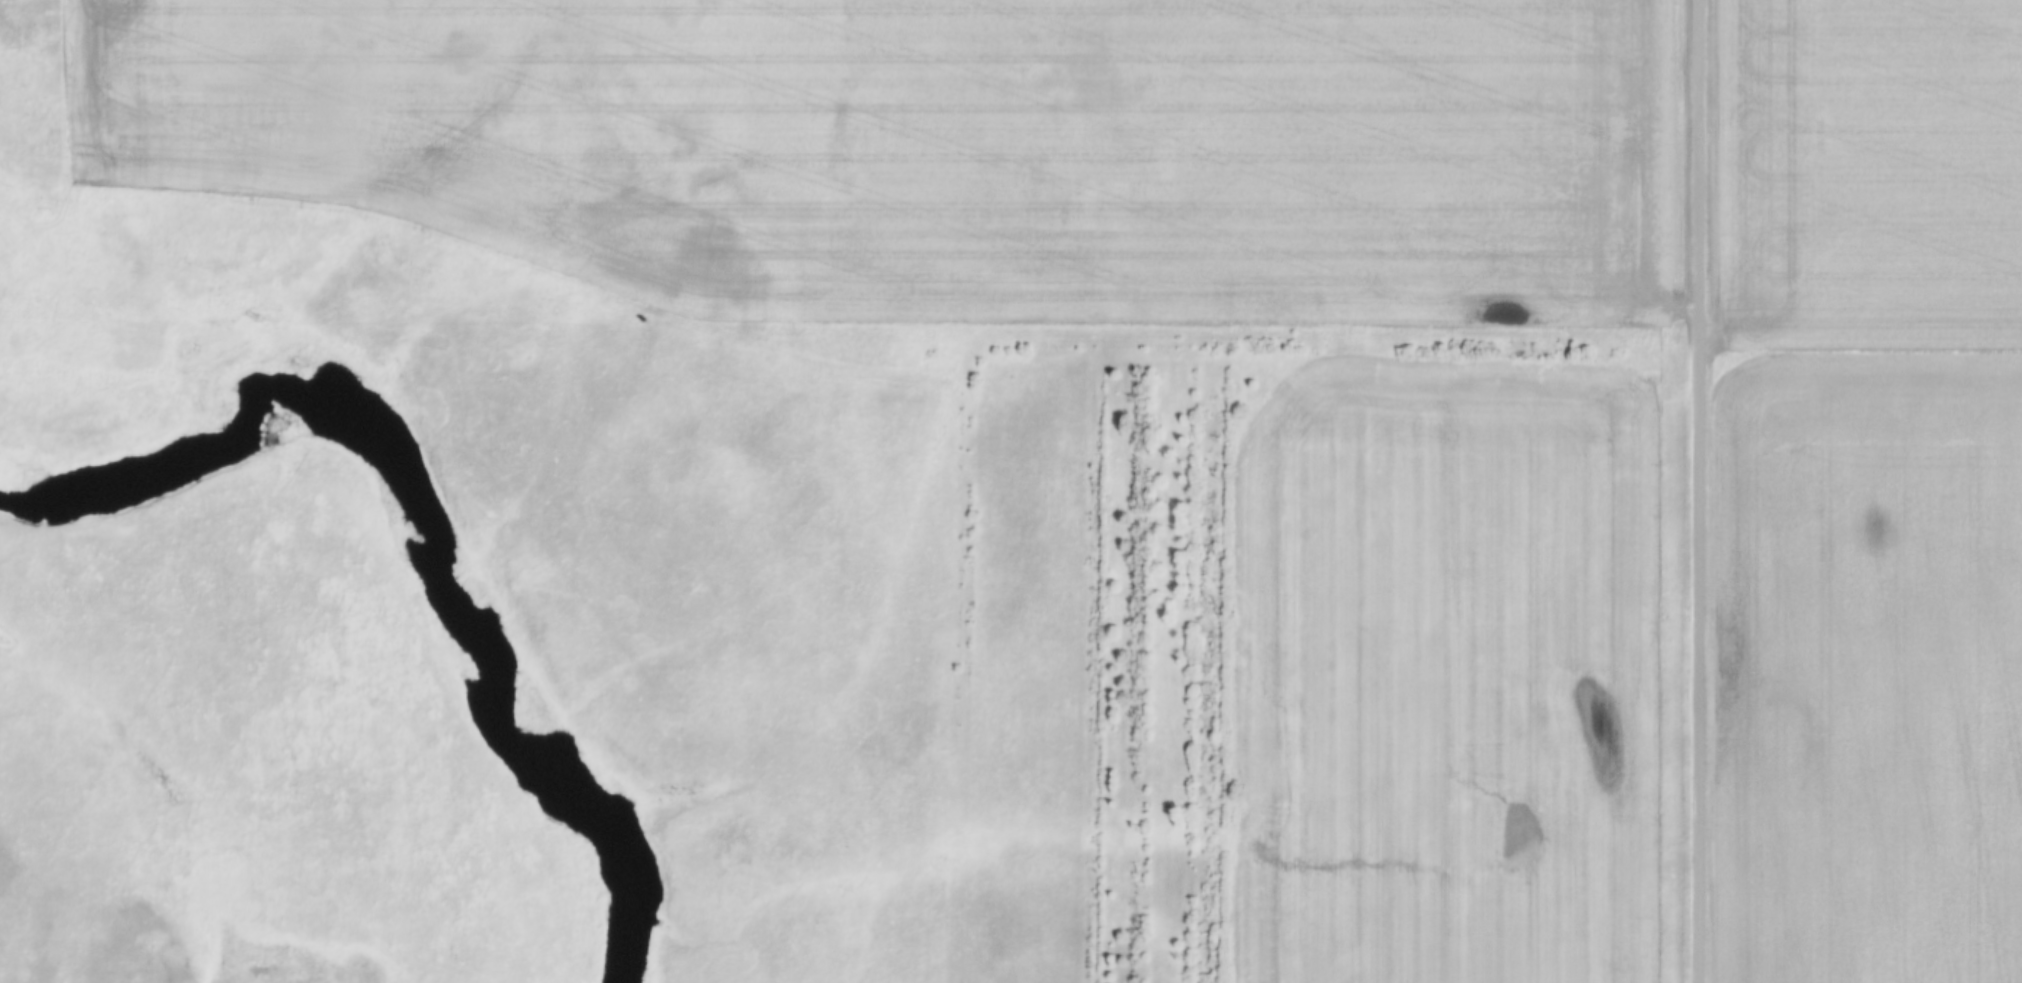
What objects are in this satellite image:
road: (1702, 491)

